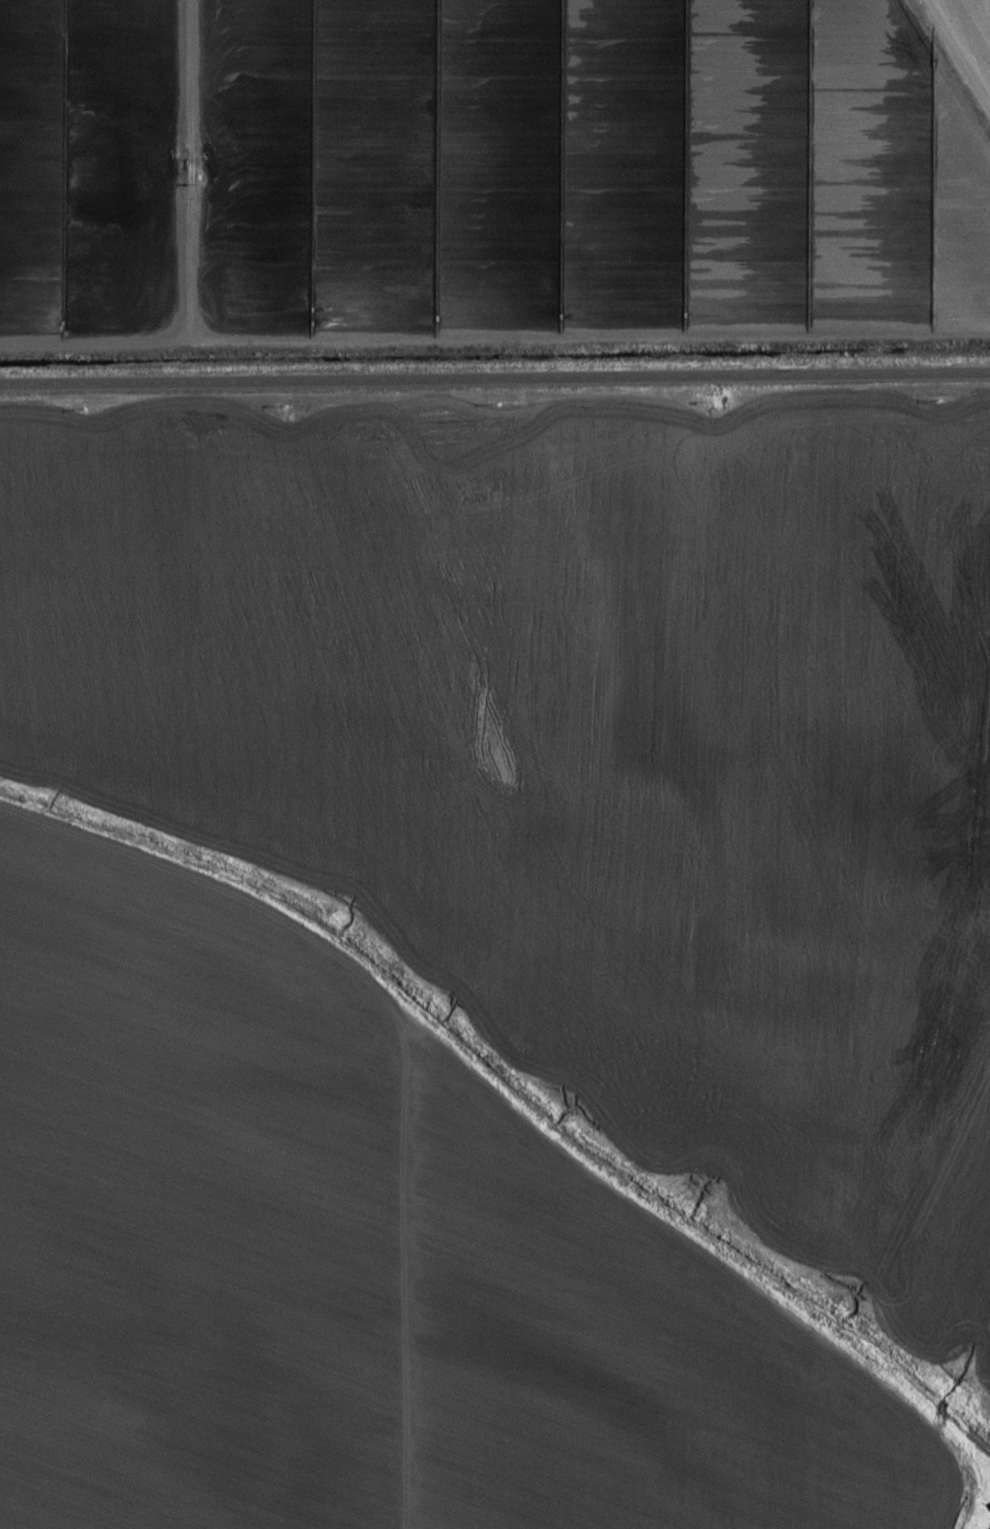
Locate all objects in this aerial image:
road: (955, 59)
road: (494, 376)

